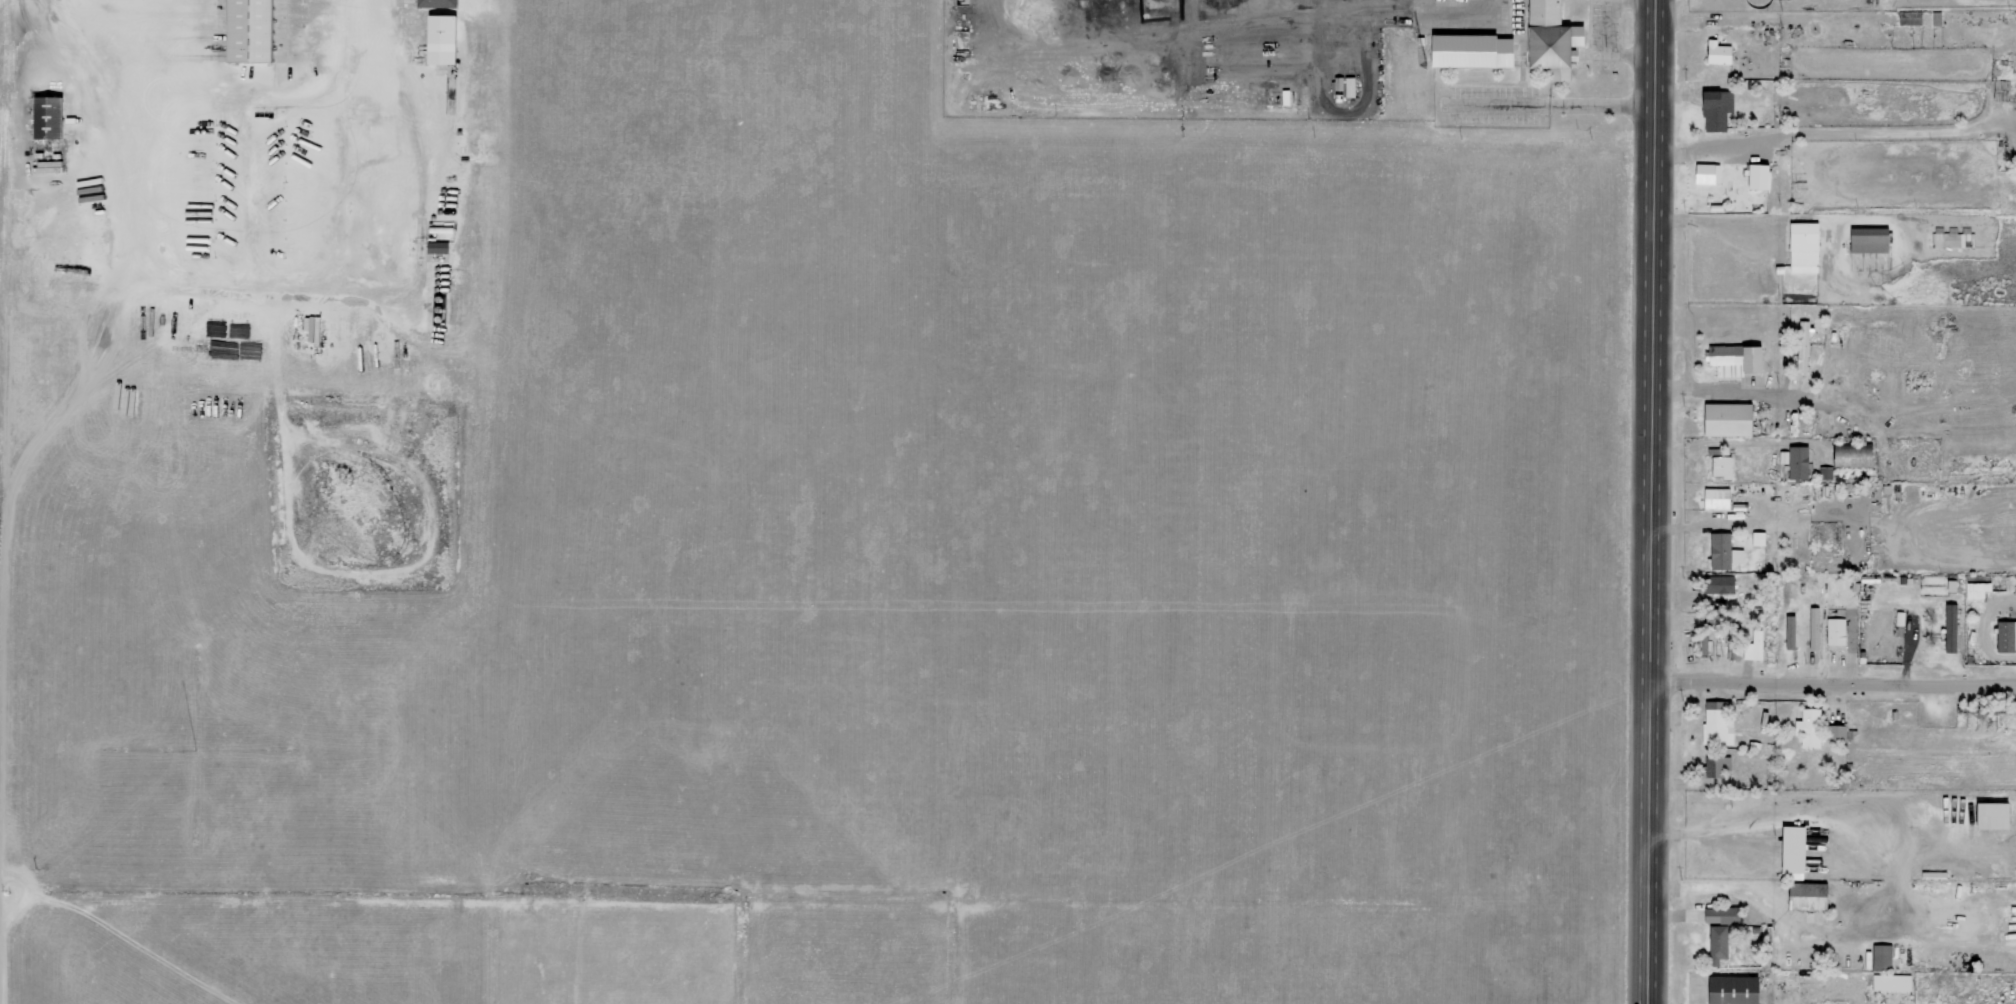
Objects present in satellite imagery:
building: (437, 3)
building: (256, 30)
building: (445, 38)
building: (1547, 39)
building: (1465, 50)
building: (1716, 52)
building: (2000, 91)
building: (1714, 107)
building: (1705, 173)
building: (1754, 176)
building: (1868, 240)
building: (1951, 240)
building: (1803, 247)
building: (1800, 346)
building: (1732, 359)
building: (1727, 420)
building: (1847, 457)
building: (1794, 462)
building: (1718, 467)
building: (1824, 473)
building: (1714, 498)
road: (1653, 502)
building: (1756, 538)
building: (1720, 551)
building: (1717, 585)
building: (1976, 590)
building: (1812, 628)
building: (1948, 628)
building: (1833, 631)
building: (1788, 632)
building: (2005, 636)
building: (1701, 645)
building: (1755, 645)
road: (1834, 685)
building: (1716, 723)
building: (1807, 728)
building: (1835, 733)
building: (1716, 766)
building: (1987, 816)
building: (1790, 852)
building: (1803, 895)
building: (1718, 915)
building: (1715, 943)
building: (1880, 957)
building: (1890, 982)
building: (1729, 989)

